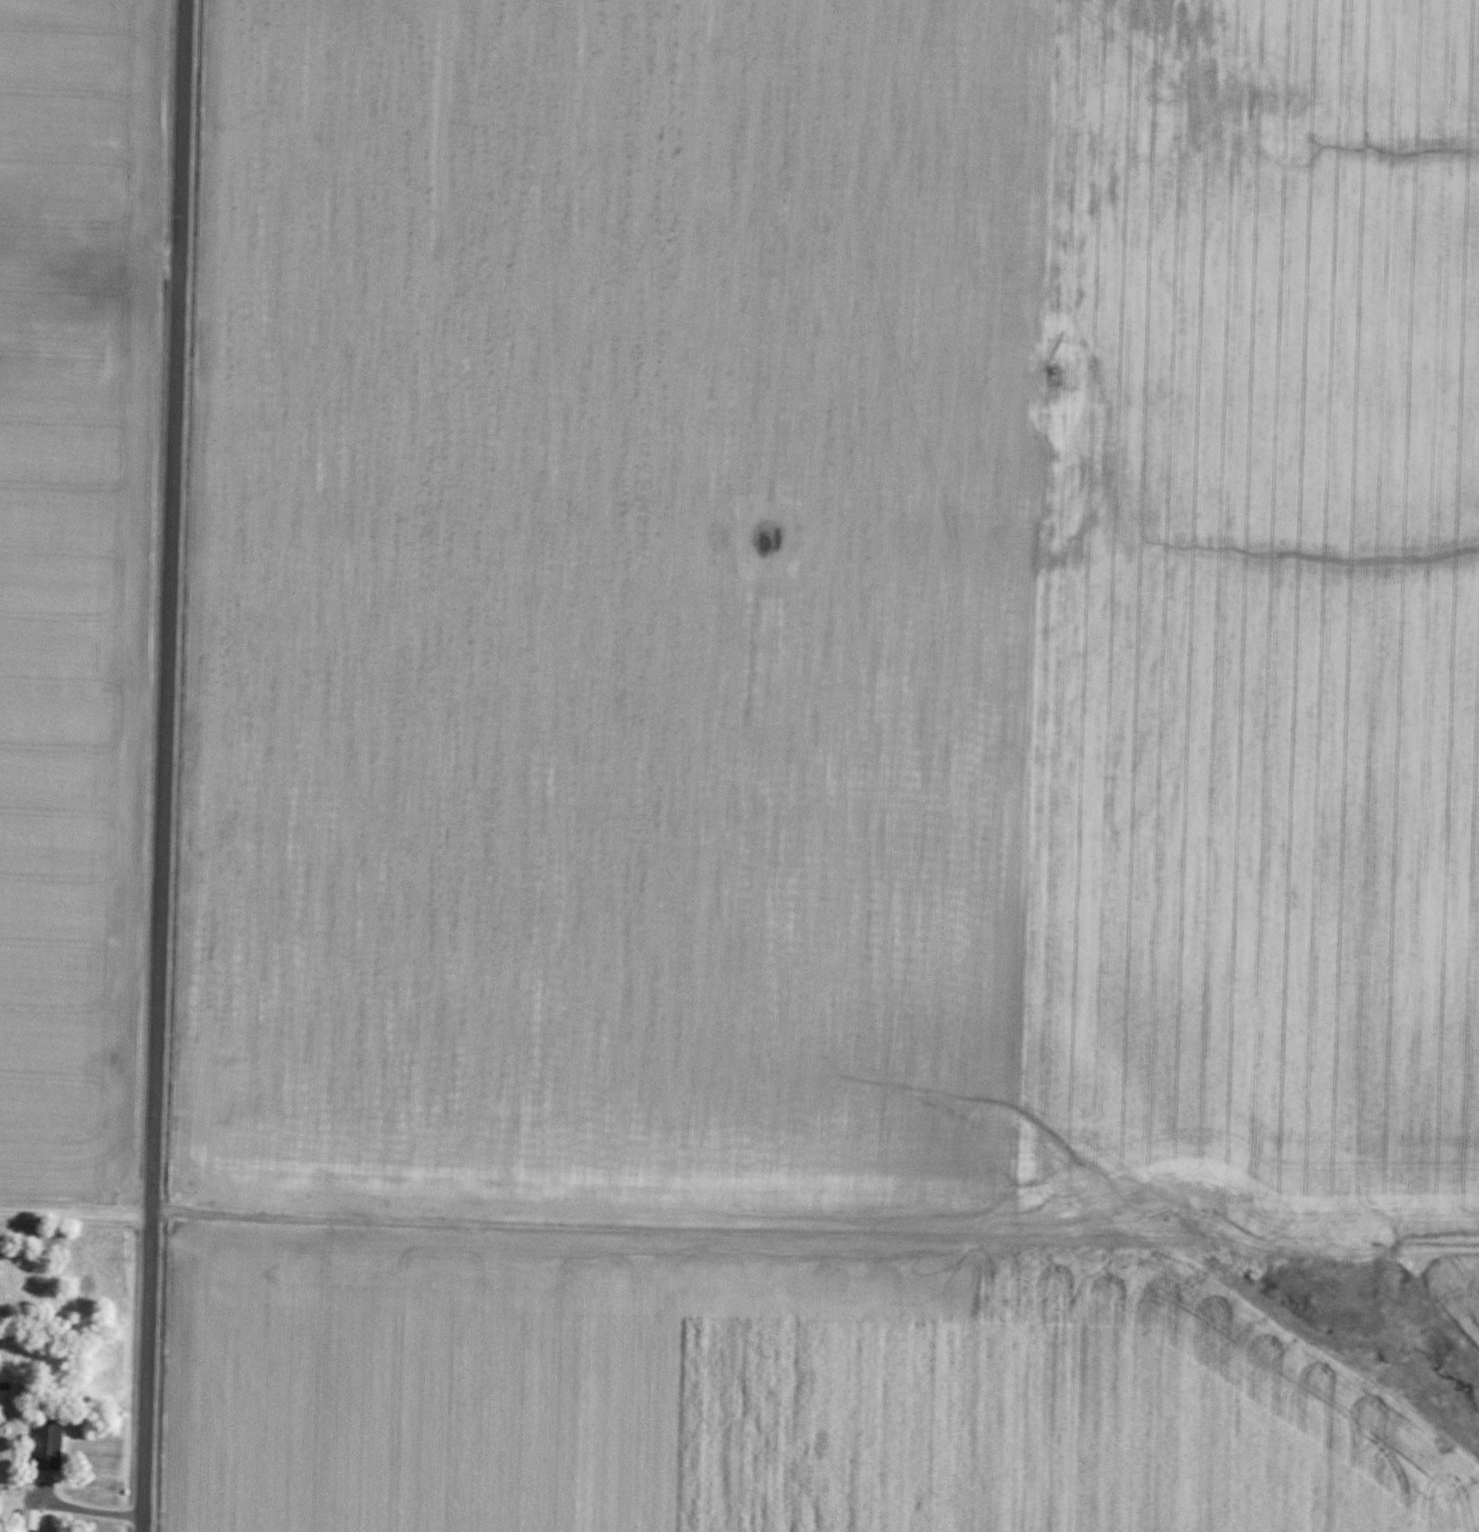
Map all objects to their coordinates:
road: (163, 765)
road: (76, 1211)
road: (694, 1236)
building: (47, 1445)
road: (84, 1506)
building: (30, 1520)

